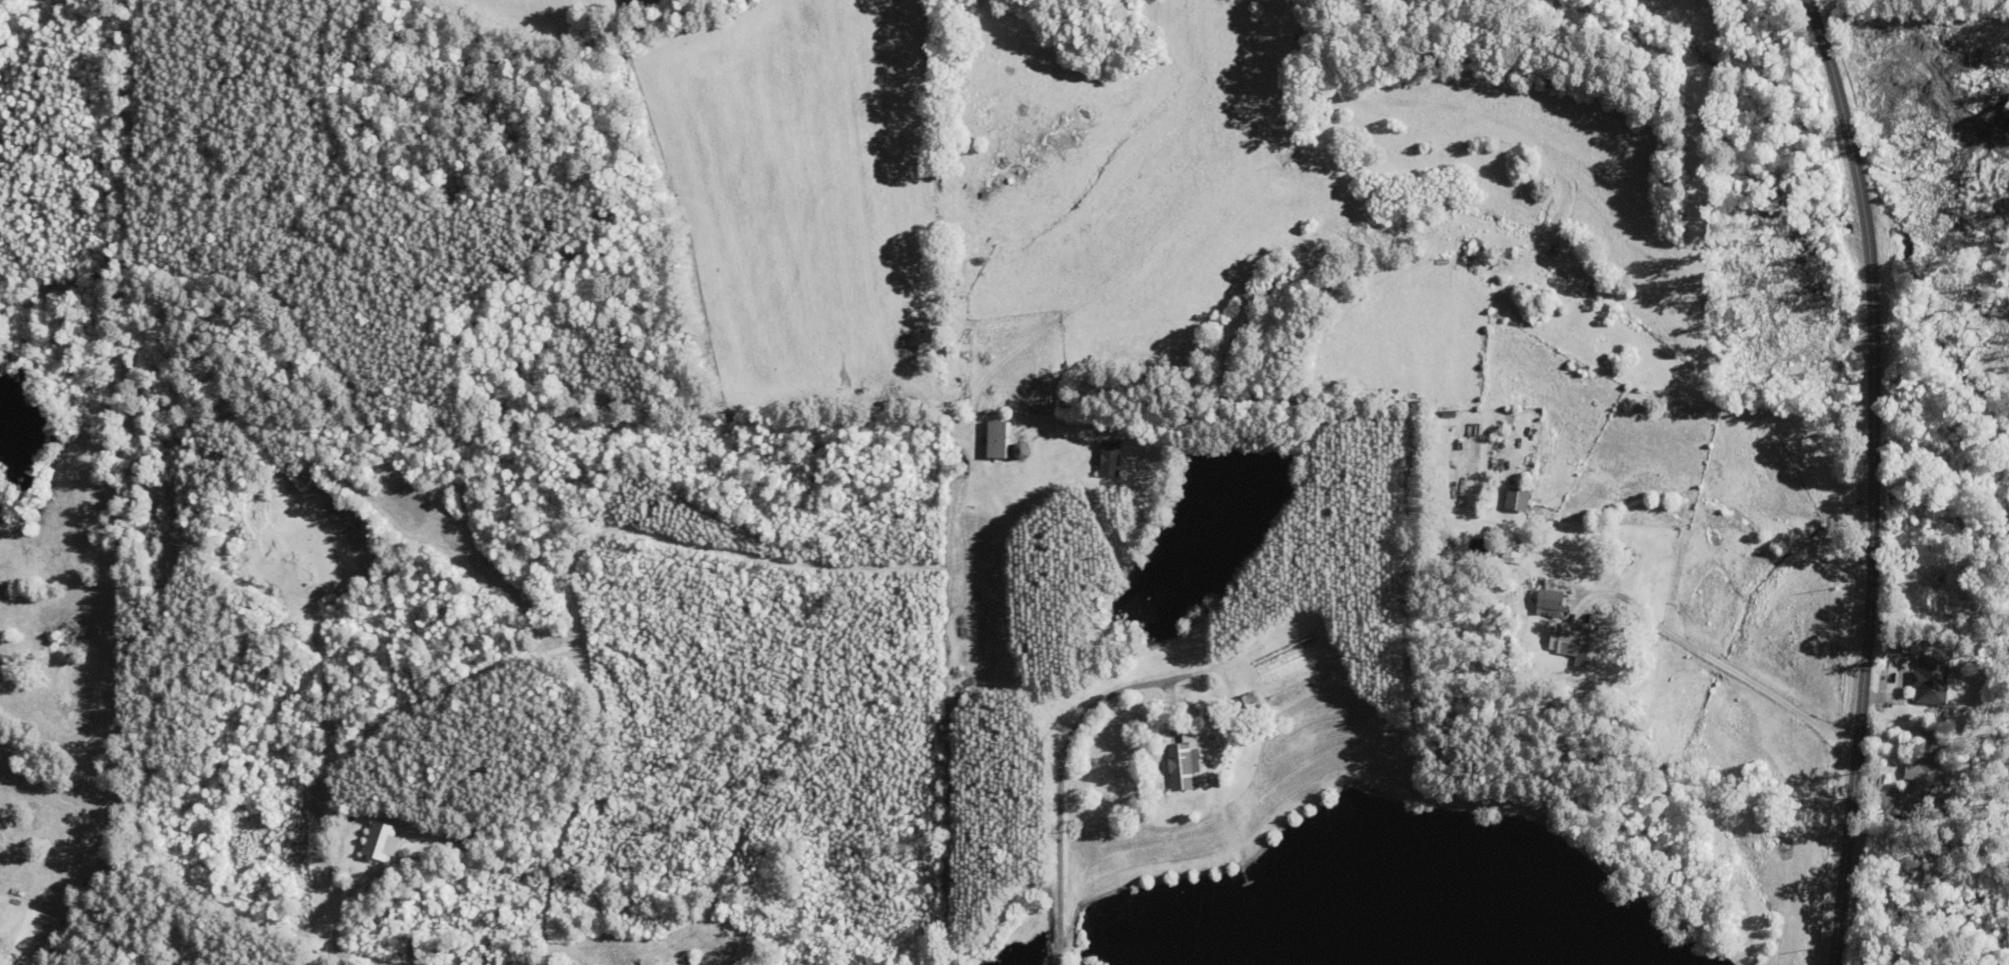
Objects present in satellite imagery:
building: (1323, 289)
building: (1138, 437)
building: (999, 438)
road: (1873, 479)
building: (1519, 498)
building: (1552, 602)
building: (1579, 645)
road: (1721, 663)
building: (1933, 679)
building: (1247, 705)
building: (1185, 761)
building: (1930, 762)
road: (1060, 779)
building: (385, 839)

